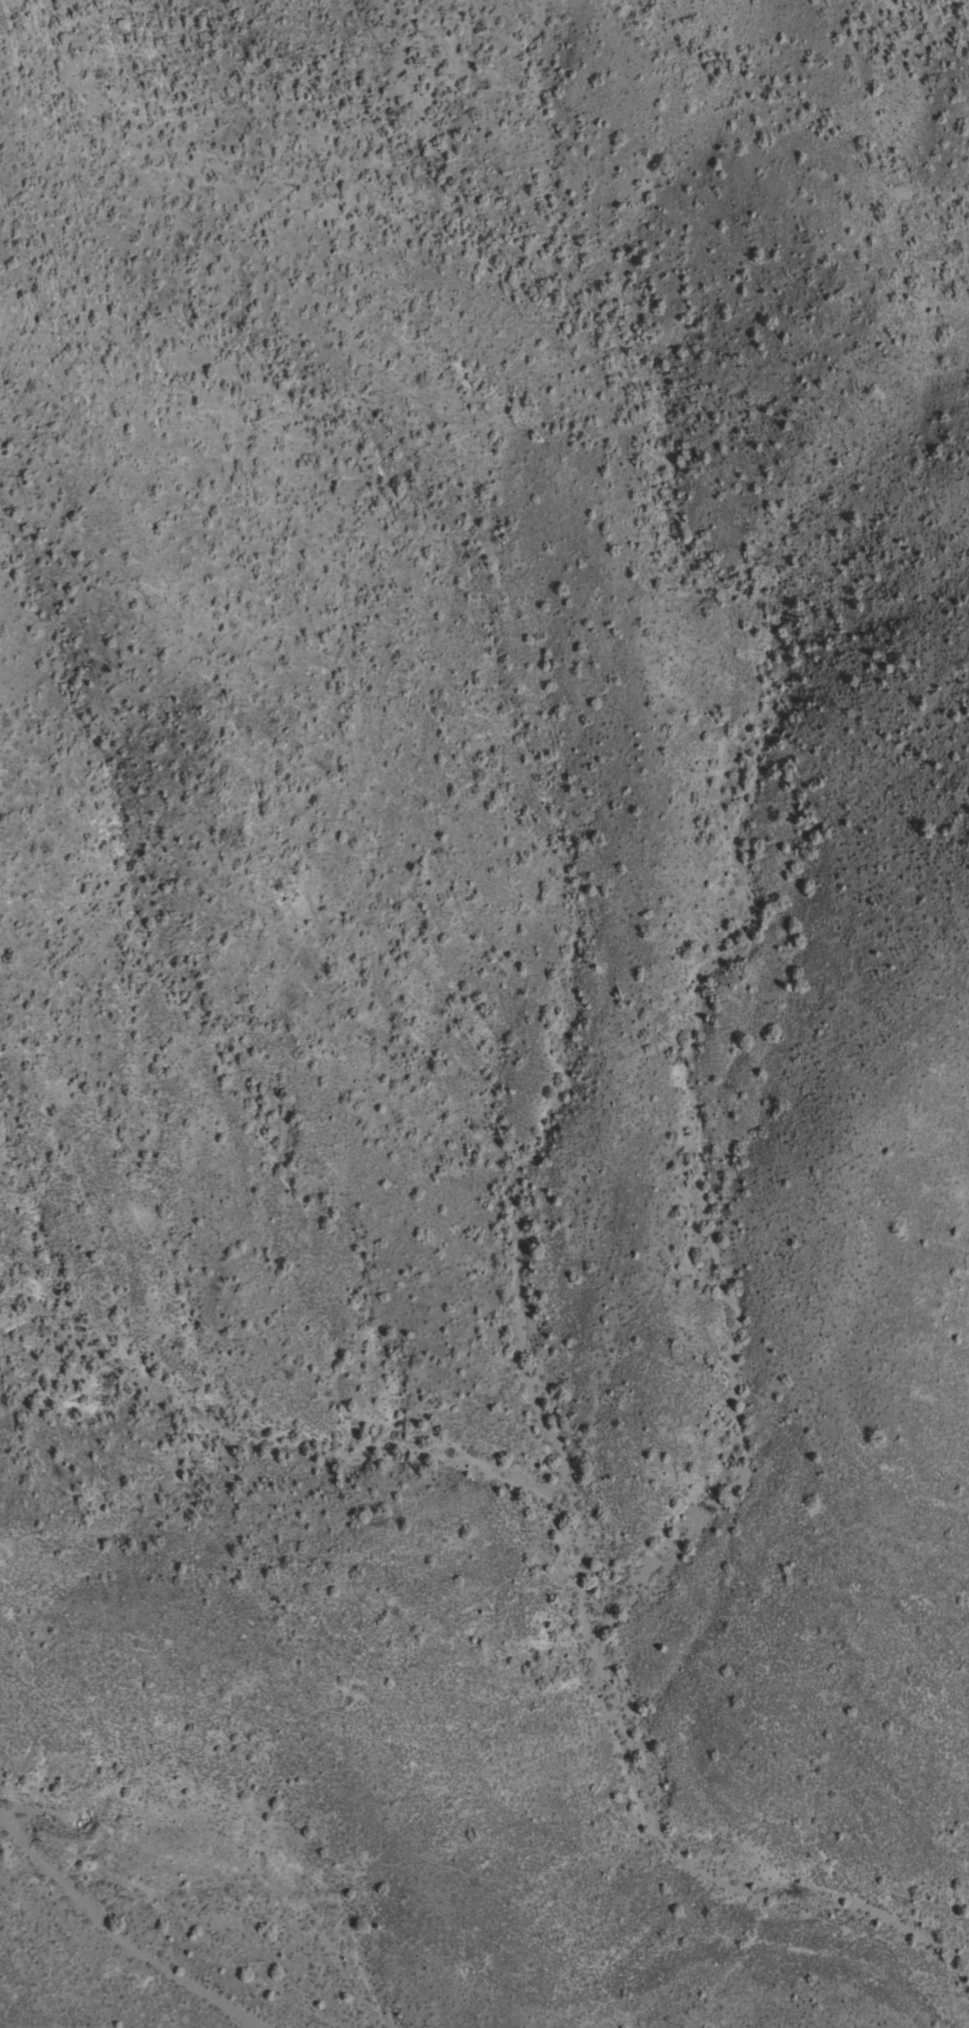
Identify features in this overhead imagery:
road: (93, 1977)

